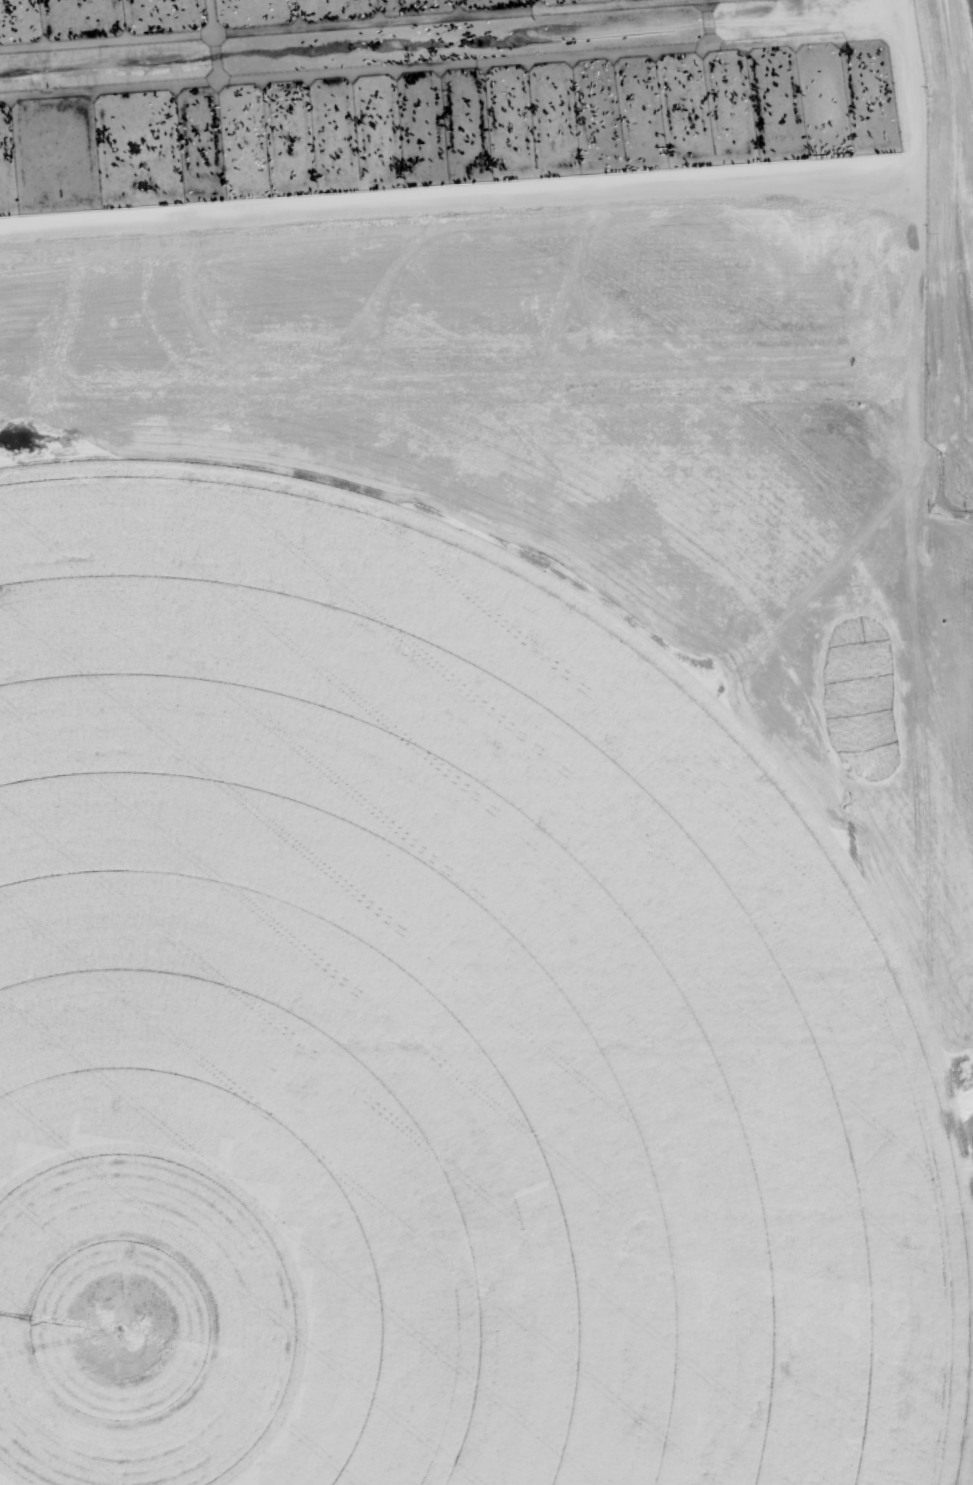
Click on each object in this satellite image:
railway: (972, 2)

